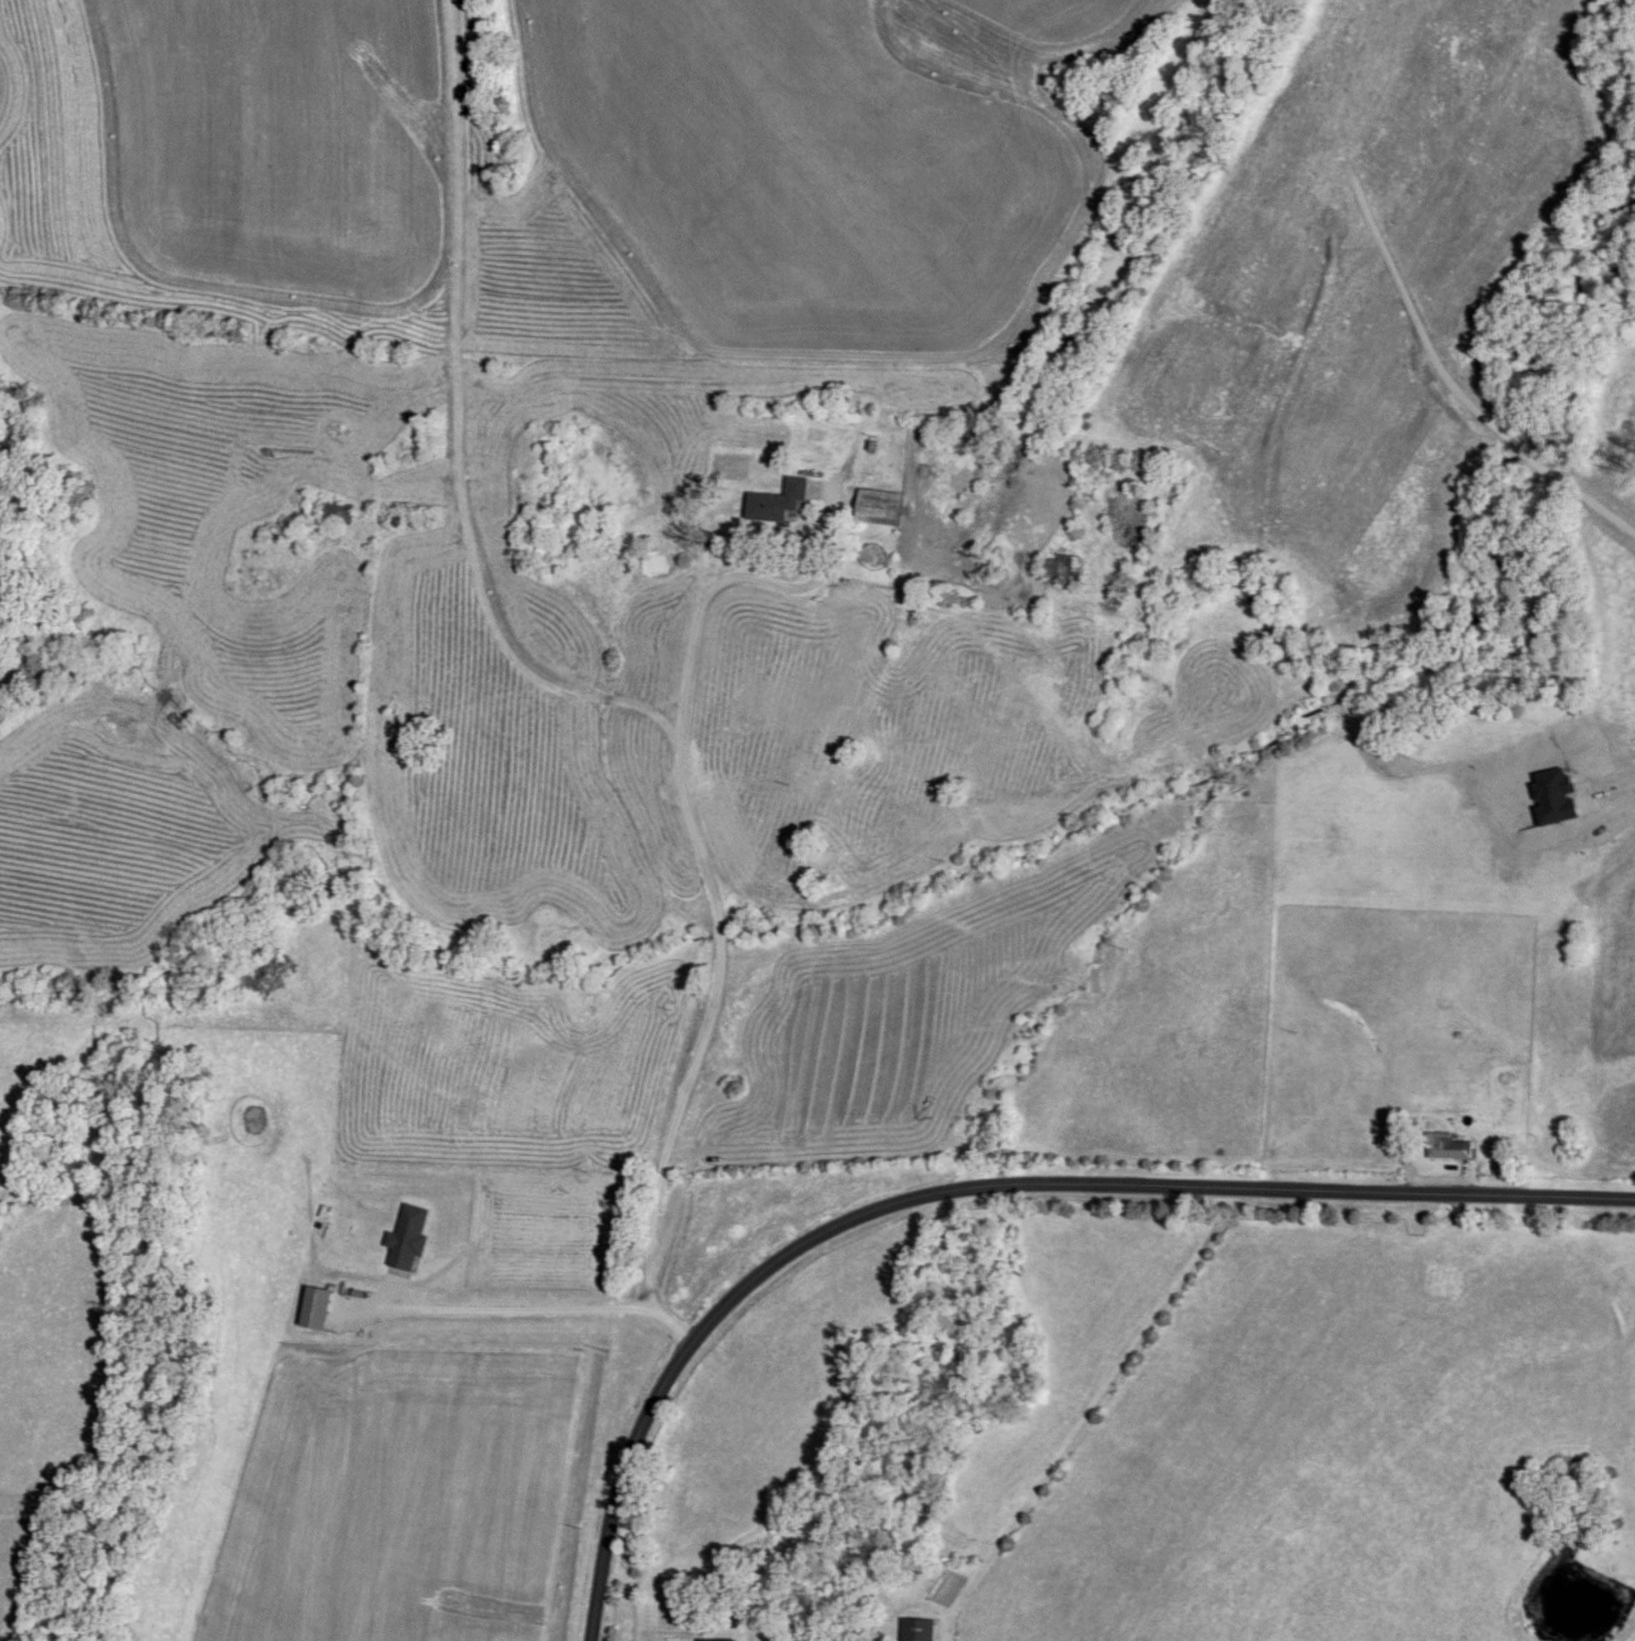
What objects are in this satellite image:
building: (777, 502)
building: (879, 507)
building: (336, 514)
building: (1059, 572)
road: (926, 610)
road: (486, 612)
road: (709, 872)
building: (1448, 1146)
road: (1051, 1187)
road: (514, 1309)
road: (606, 1574)
building: (921, 1630)
building: (716, 1640)

